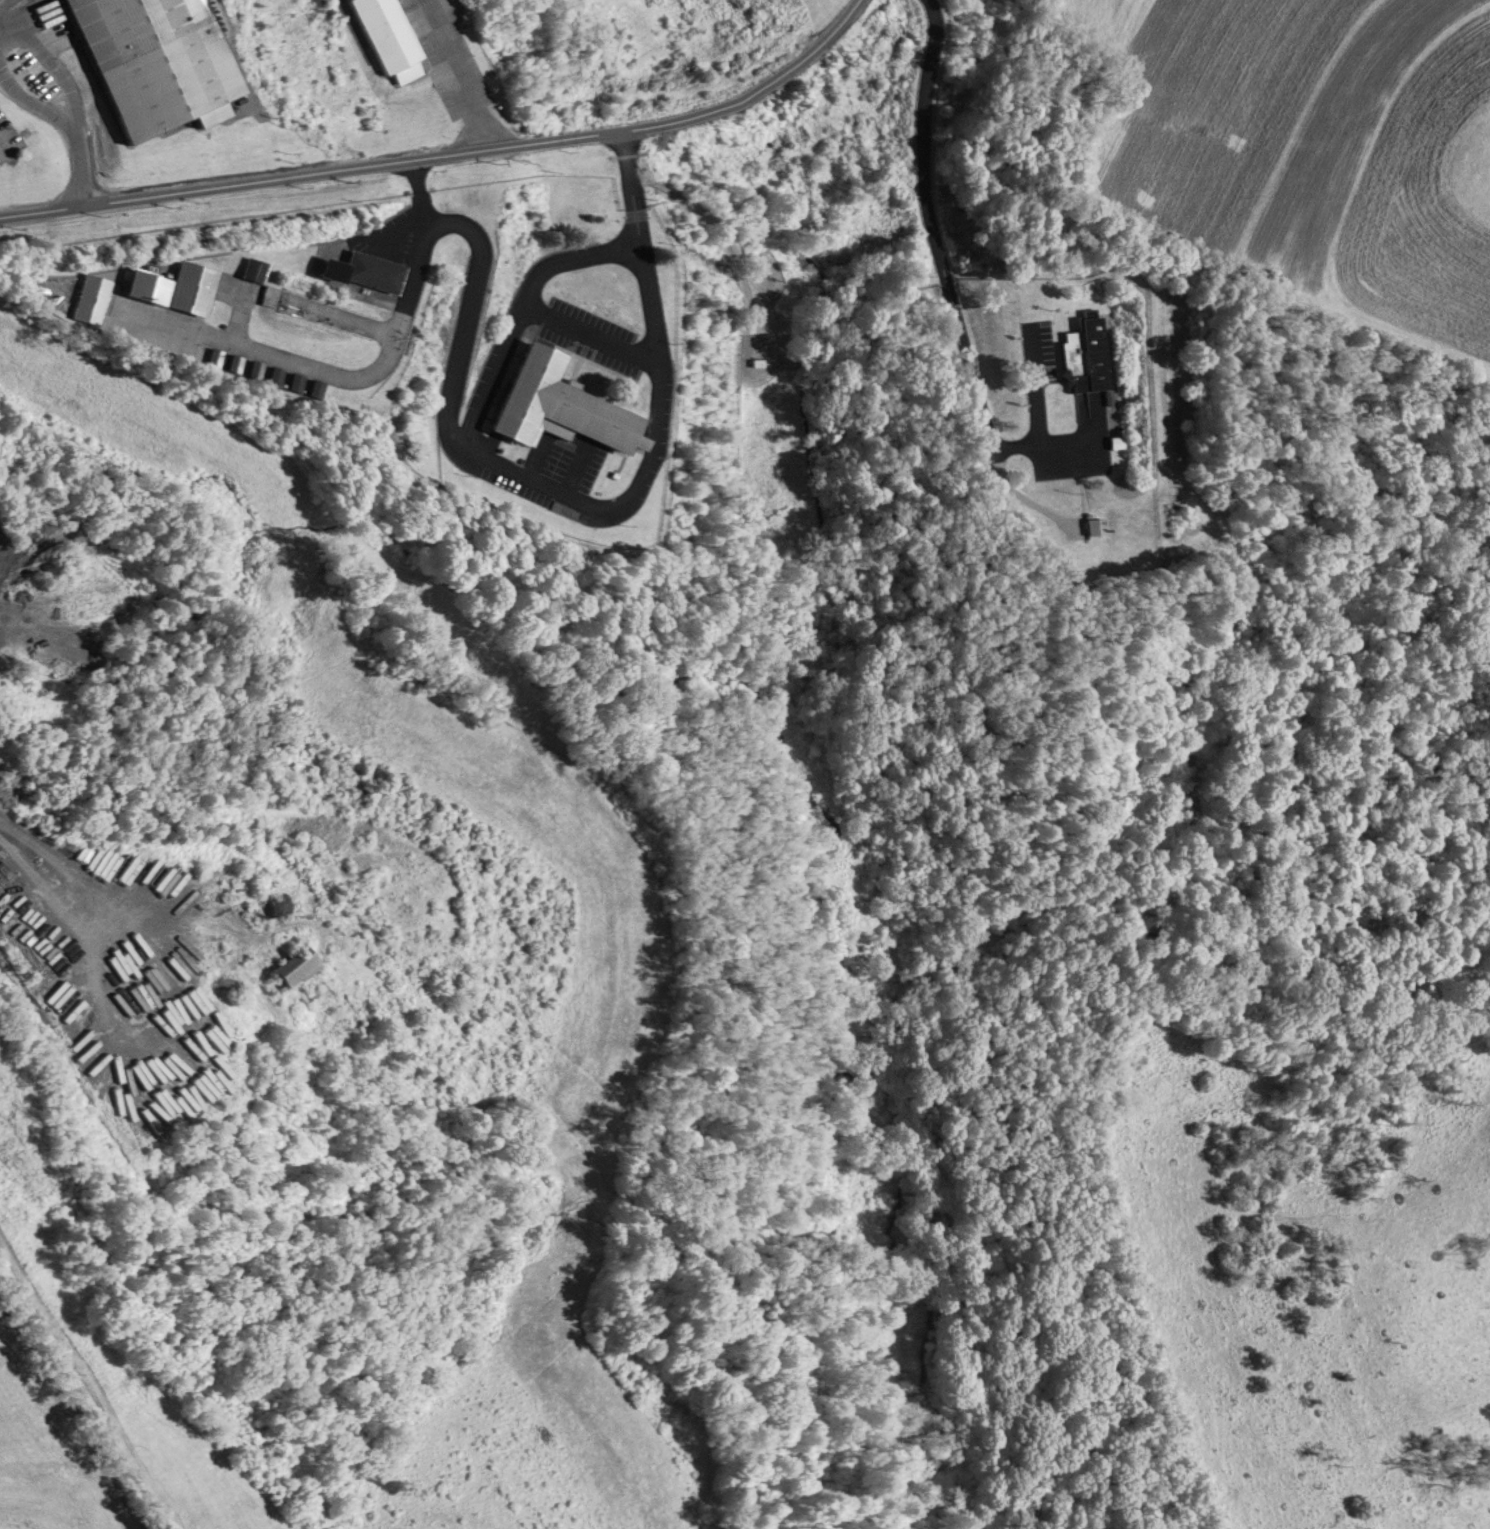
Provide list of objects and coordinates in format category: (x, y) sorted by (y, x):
building: (382, 38)
road: (819, 46)
road: (42, 53)
building: (148, 62)
road: (459, 76)
road: (391, 165)
building: (363, 271)
building: (145, 286)
building: (190, 287)
building: (87, 310)
building: (1086, 355)
building: (555, 405)
building: (1094, 522)
building: (291, 967)

